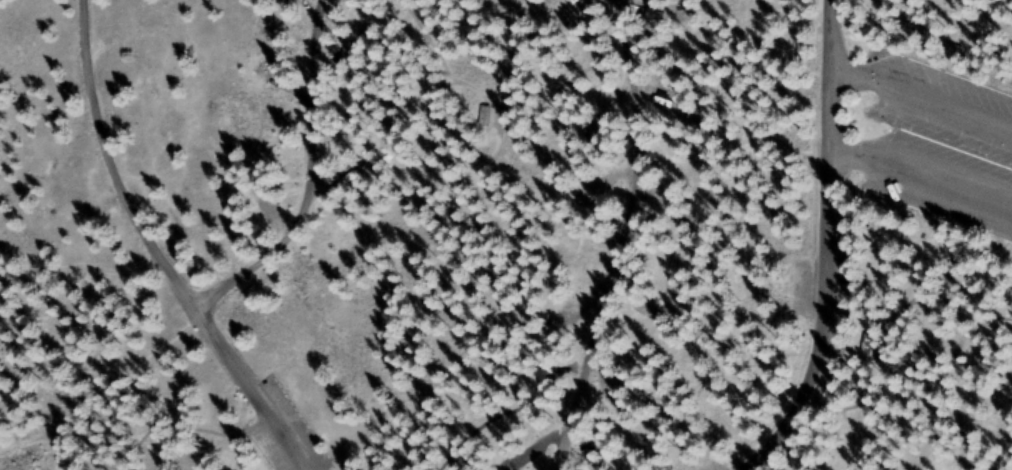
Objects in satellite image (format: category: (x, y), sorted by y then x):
road: (920, 95)
parking lot: (946, 148)
road: (920, 174)
road: (316, 179)
road: (610, 234)
road: (822, 240)
road: (153, 252)
road: (66, 411)
parking lot: (286, 432)
road: (1004, 453)

